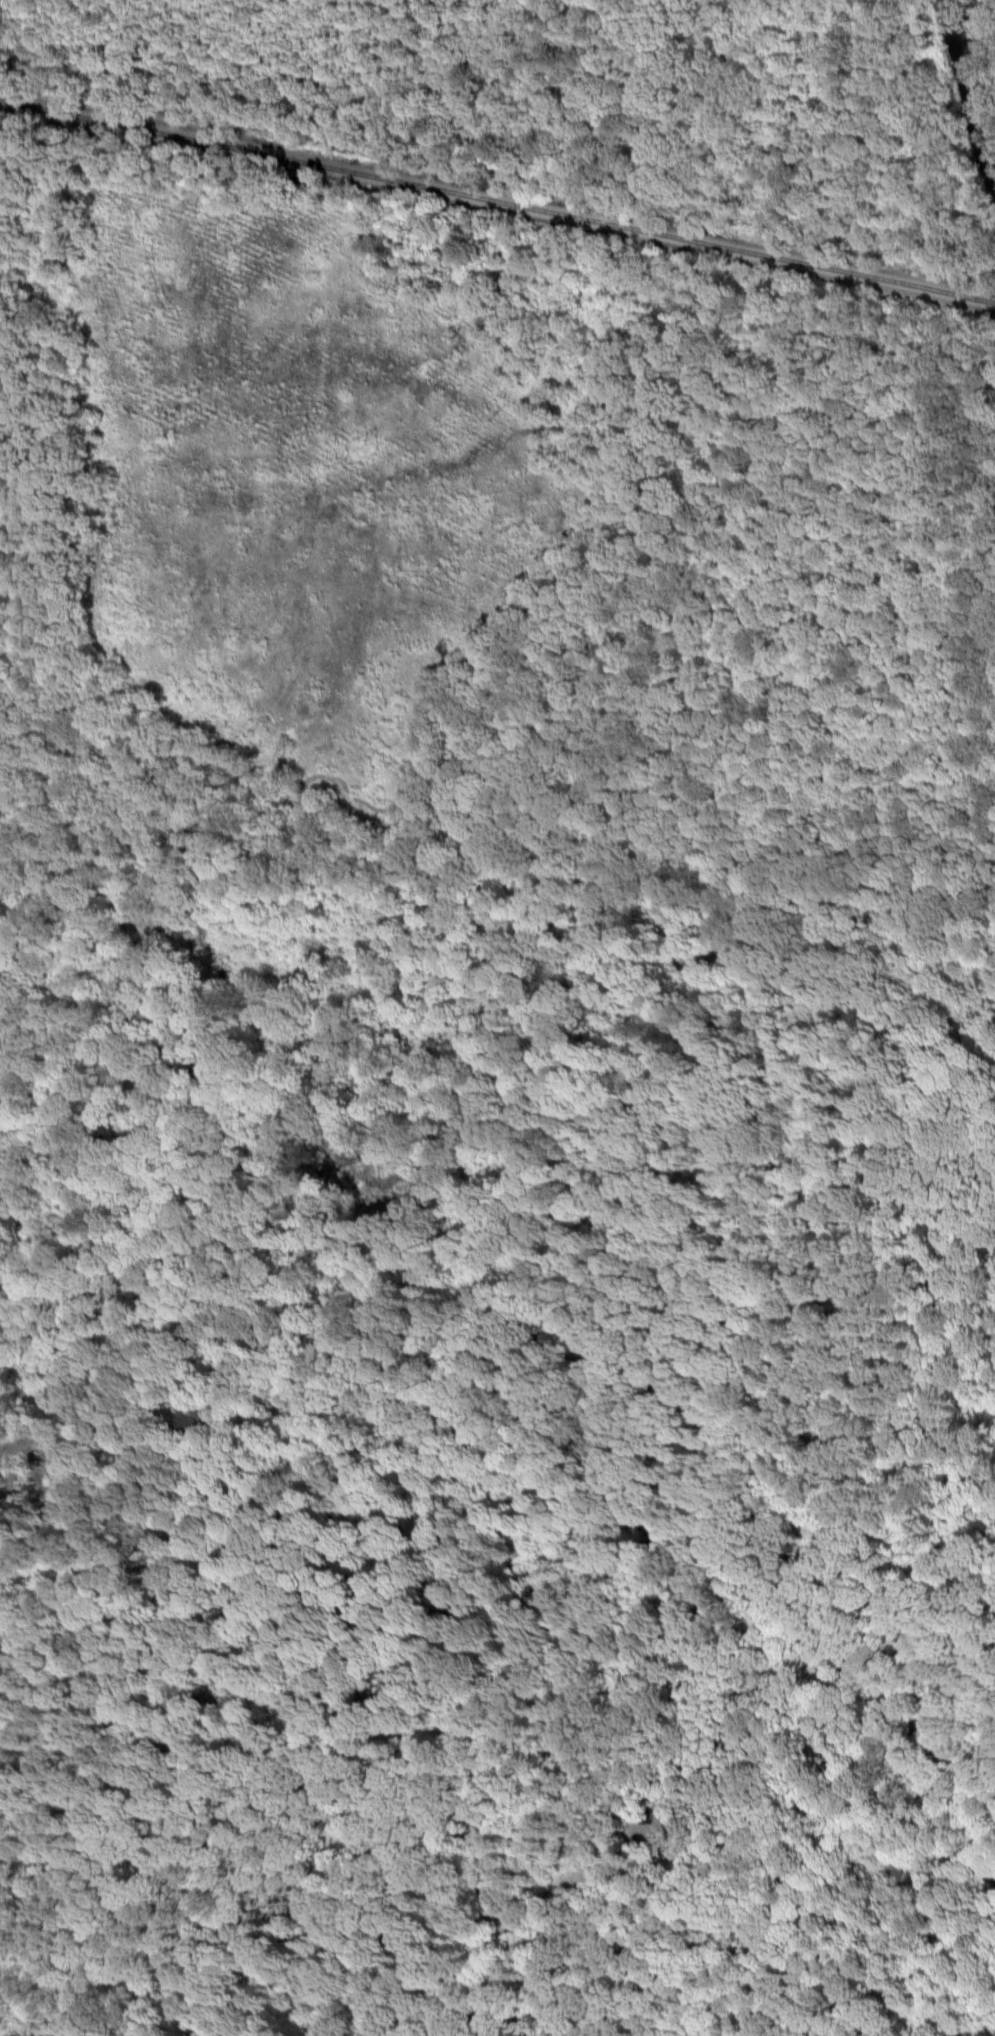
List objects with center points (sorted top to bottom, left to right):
river: (966, 79)
railway: (497, 204)
road: (595, 616)
road: (964, 1183)
road: (800, 1617)

